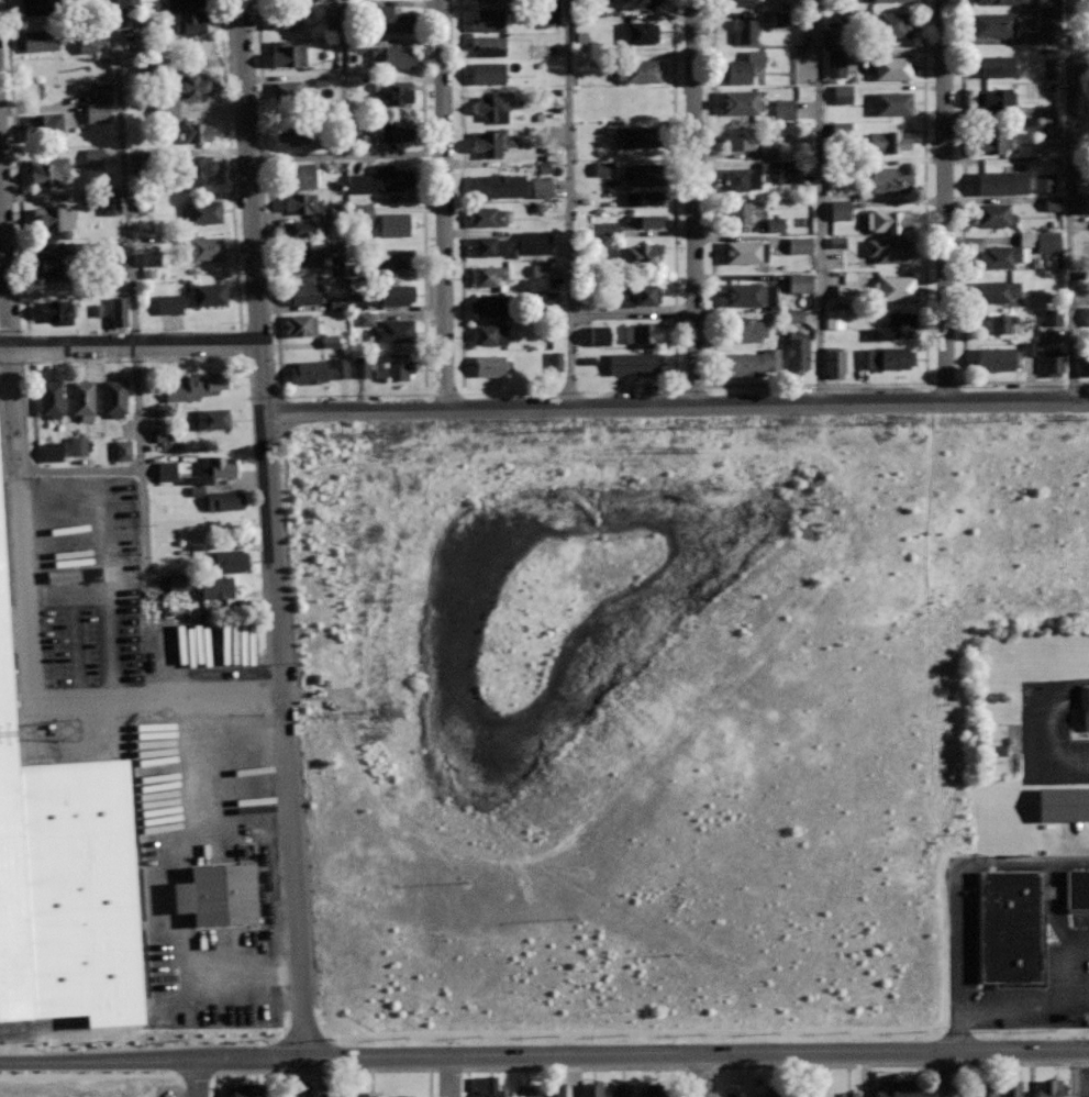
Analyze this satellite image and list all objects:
building: (489, 0)
building: (882, 0)
building: (999, 1)
building: (737, 2)
building: (184, 3)
building: (636, 3)
building: (126, 4)
building: (37, 7)
building: (547, 15)
building: (281, 18)
building: (392, 19)
building: (489, 19)
building: (780, 19)
building: (1048, 20)
building: (189, 21)
building: (891, 23)
building: (993, 23)
building: (331, 25)
building: (744, 30)
building: (638, 32)
building: (42, 37)
building: (580, 40)
building: (195, 42)
building: (487, 44)
building: (288, 53)
building: (393, 56)
building: (751, 64)
building: (834, 64)
building: (994, 65)
building: (893, 67)
building: (638, 69)
building: (488, 71)
road: (345, 77)
building: (189, 84)
building: (289, 90)
building: (395, 90)
building: (841, 93)
building: (98, 96)
building: (994, 99)
building: (740, 102)
building: (892, 102)
building: (495, 103)
building: (782, 109)
building: (165, 112)
building: (96, 113)
building: (44, 125)
building: (841, 129)
building: (196, 130)
building: (396, 130)
building: (1051, 130)
building: (293, 132)
building: (640, 135)
building: (737, 137)
building: (888, 140)
building: (493, 141)
building: (990, 141)
building: (767, 152)
road: (345, 154)
building: (92, 157)
building: (111, 157)
building: (136, 164)
road: (229, 165)
road: (15, 166)
building: (197, 167)
building: (602, 168)
building: (48, 170)
building: (299, 174)
building: (645, 174)
building: (392, 176)
building: (789, 177)
building: (742, 178)
building: (890, 179)
building: (1002, 181)
building: (1042, 184)
building: (357, 185)
building: (499, 185)
building: (540, 188)
road: (675, 191)
road: (423, 192)
road: (459, 192)
road: (268, 197)
building: (644, 197)
road: (1071, 200)
building: (303, 201)
road: (819, 201)
road: (944, 201)
road: (694, 202)
building: (110, 203)
road: (569, 203)
building: (1052, 203)
building: (1080, 203)
road: (443, 204)
building: (838, 210)
building: (204, 211)
building: (737, 211)
building: (360, 213)
building: (994, 213)
building: (488, 215)
building: (56, 219)
building: (887, 219)
building: (643, 221)
building: (395, 223)
building: (774, 224)
building: (307, 226)
building: (608, 229)
building: (1047, 242)
building: (533, 243)
building: (836, 243)
building: (487, 245)
building: (799, 245)
building: (203, 247)
building: (891, 248)
building: (746, 251)
building: (1007, 252)
building: (641, 254)
road: (960, 255)
building: (52, 256)
building: (313, 256)
building: (398, 257)
building: (147, 259)
building: (545, 270)
building: (146, 273)
building: (489, 274)
building: (799, 282)
building: (897, 287)
building: (998, 289)
building: (304, 291)
building: (208, 292)
building: (395, 293)
building: (644, 293)
building: (749, 293)
building: (844, 295)
building: (356, 300)
building: (335, 303)
building: (167, 304)
building: (489, 304)
building: (57, 310)
building: (119, 311)
road: (134, 311)
building: (792, 315)
building: (1086, 317)
road: (10, 319)
building: (1053, 319)
building: (364, 320)
building: (833, 320)
building: (1001, 322)
building: (301, 324)
building: (894, 325)
building: (746, 329)
building: (393, 330)
building: (642, 333)
building: (490, 334)
building: (597, 337)
building: (329, 342)
road: (130, 346)
building: (1030, 348)
building: (798, 352)
building: (885, 355)
building: (996, 359)
building: (834, 361)
building: (1054, 361)
building: (555, 362)
building: (752, 362)
building: (634, 363)
building: (1084, 364)
building: (490, 365)
building: (397, 366)
building: (360, 367)
building: (309, 370)
road: (815, 385)
building: (197, 386)
building: (51, 396)
building: (85, 398)
building: (115, 398)
road: (676, 406)
building: (212, 418)
road: (823, 426)
building: (162, 437)
building: (77, 446)
building: (51, 451)
building: (121, 451)
road: (966, 453)
road: (353, 465)
building: (216, 467)
road: (80, 469)
building: (165, 472)
road: (597, 497)
building: (225, 501)
road: (887, 519)
road: (271, 528)
road: (40, 547)
road: (108, 558)
building: (231, 559)
building: (177, 580)
building: (218, 586)
road: (67, 591)
parking lot: (116, 598)
road: (214, 635)
road: (927, 640)
road: (74, 647)
road: (319, 698)
road: (41, 705)
building: (1084, 707)
road: (1035, 732)
parking lot: (1051, 734)
building: (996, 750)
road: (75, 752)
building: (1063, 802)
road: (378, 804)
road: (223, 816)
road: (1055, 830)
parking lot: (1063, 838)
road: (155, 856)
road: (1015, 864)
parking lot: (207, 865)
building: (65, 879)
building: (1077, 889)
building: (218, 895)
building: (1009, 927)
road: (1062, 939)
parking lot: (1016, 943)
road: (1079, 951)
road: (957, 967)
road: (1016, 1005)
road: (544, 1054)
road: (1008, 1064)
road: (824, 1065)
road: (576, 1067)
road: (323, 1071)
road: (1076, 1073)
road: (85, 1074)
road: (951, 1074)
road: (451, 1075)
road: (701, 1075)
road: (323, 1076)
road: (195, 1077)
building: (488, 1086)
building: (299, 1087)
building: (552, 1087)
building: (1012, 1087)
building: (1051, 1087)
building: (899, 1088)
building: (244, 1089)
building: (592, 1089)
building: (622, 1089)
building: (656, 1089)
building: (984, 1089)
building: (524, 1090)
building: (804, 1092)
building: (341, 1093)
building: (373, 1093)
building: (773, 1094)
building: (851, 1094)
building: (403, 1096)

